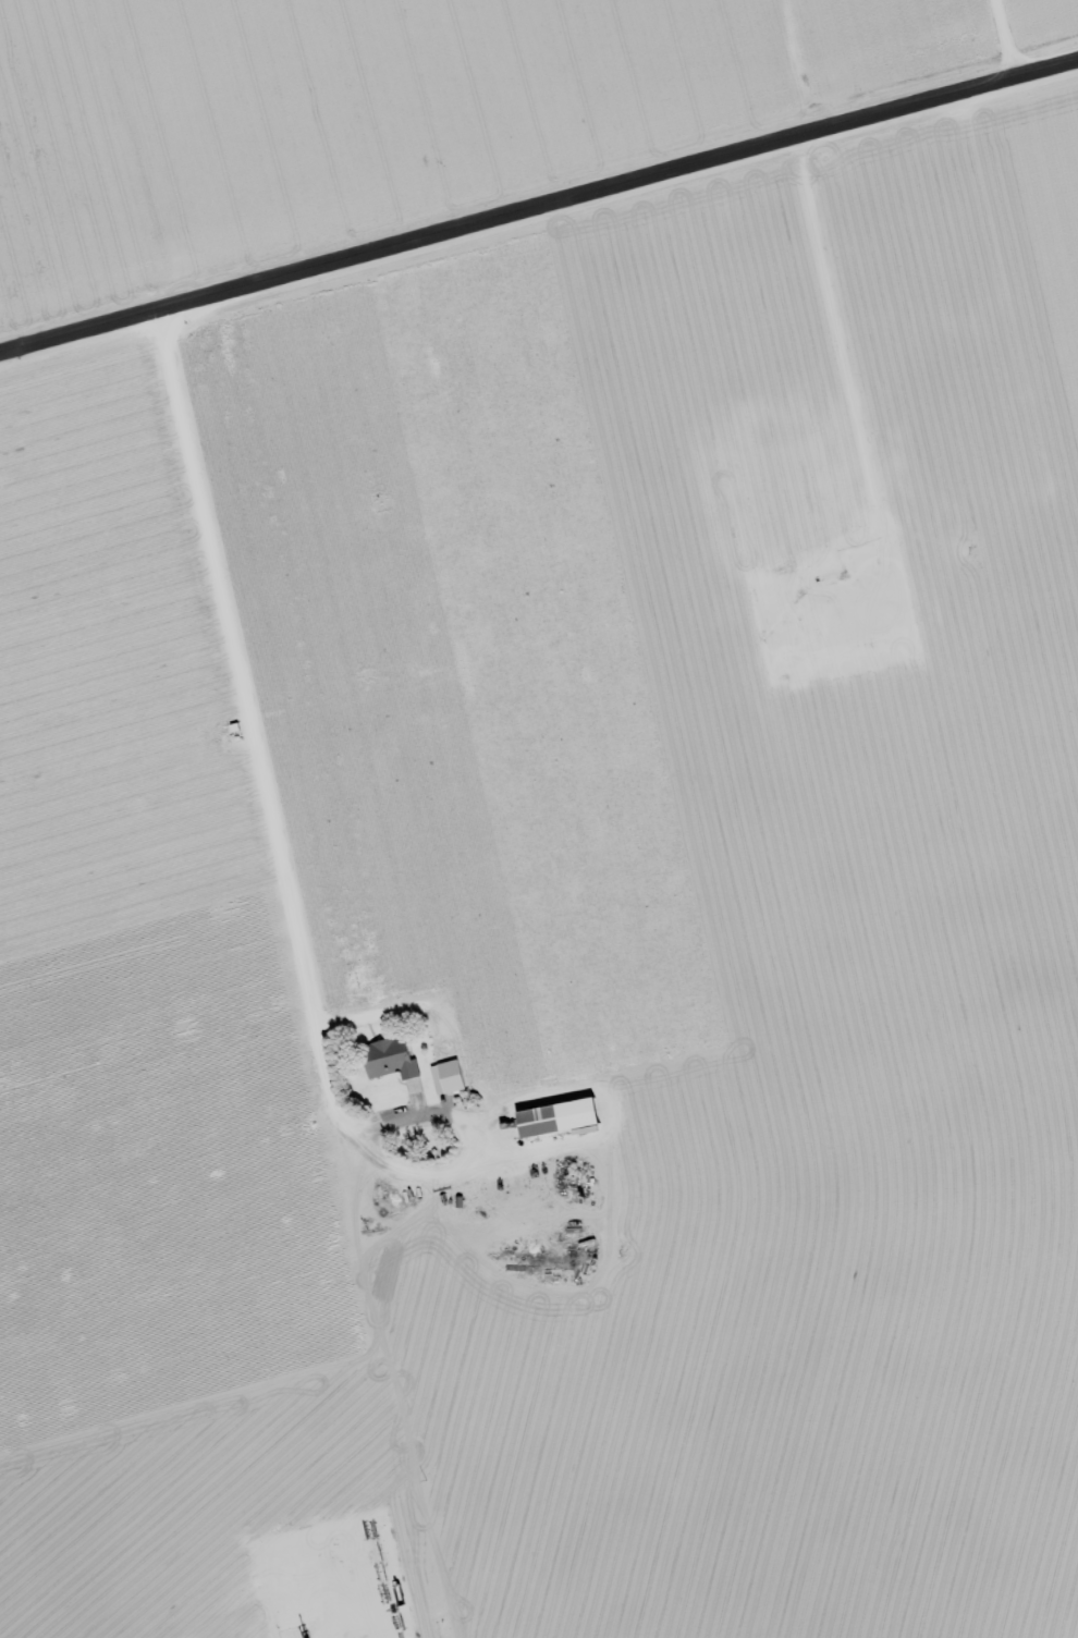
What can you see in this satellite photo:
road: (1005, 39)
road: (192, 78)
road: (538, 229)
road: (273, 804)
road: (66, 901)
building: (399, 1056)
building: (453, 1067)
building: (569, 1116)

